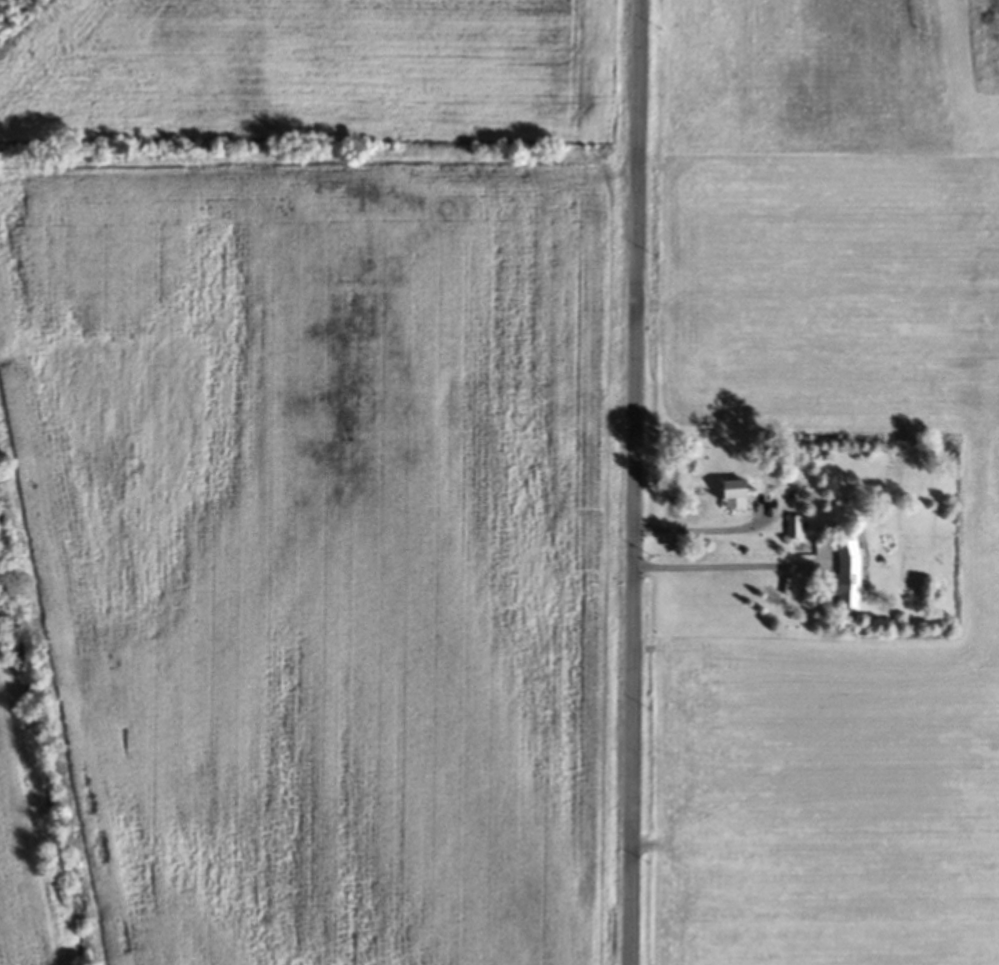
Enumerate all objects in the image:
road: (636, 482)
building: (735, 496)
road: (710, 532)
road: (721, 568)
building: (848, 577)

